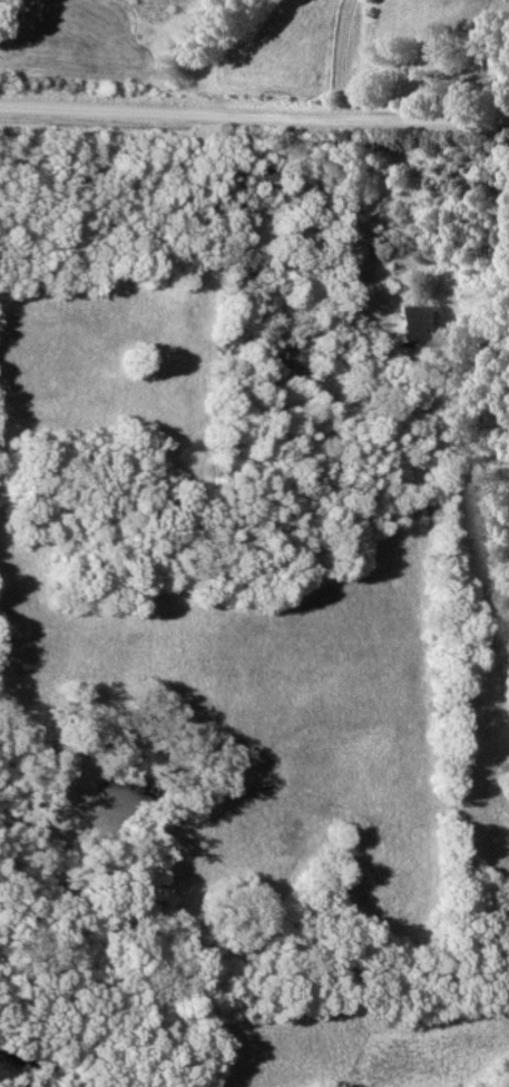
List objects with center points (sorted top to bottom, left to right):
road: (254, 110)

